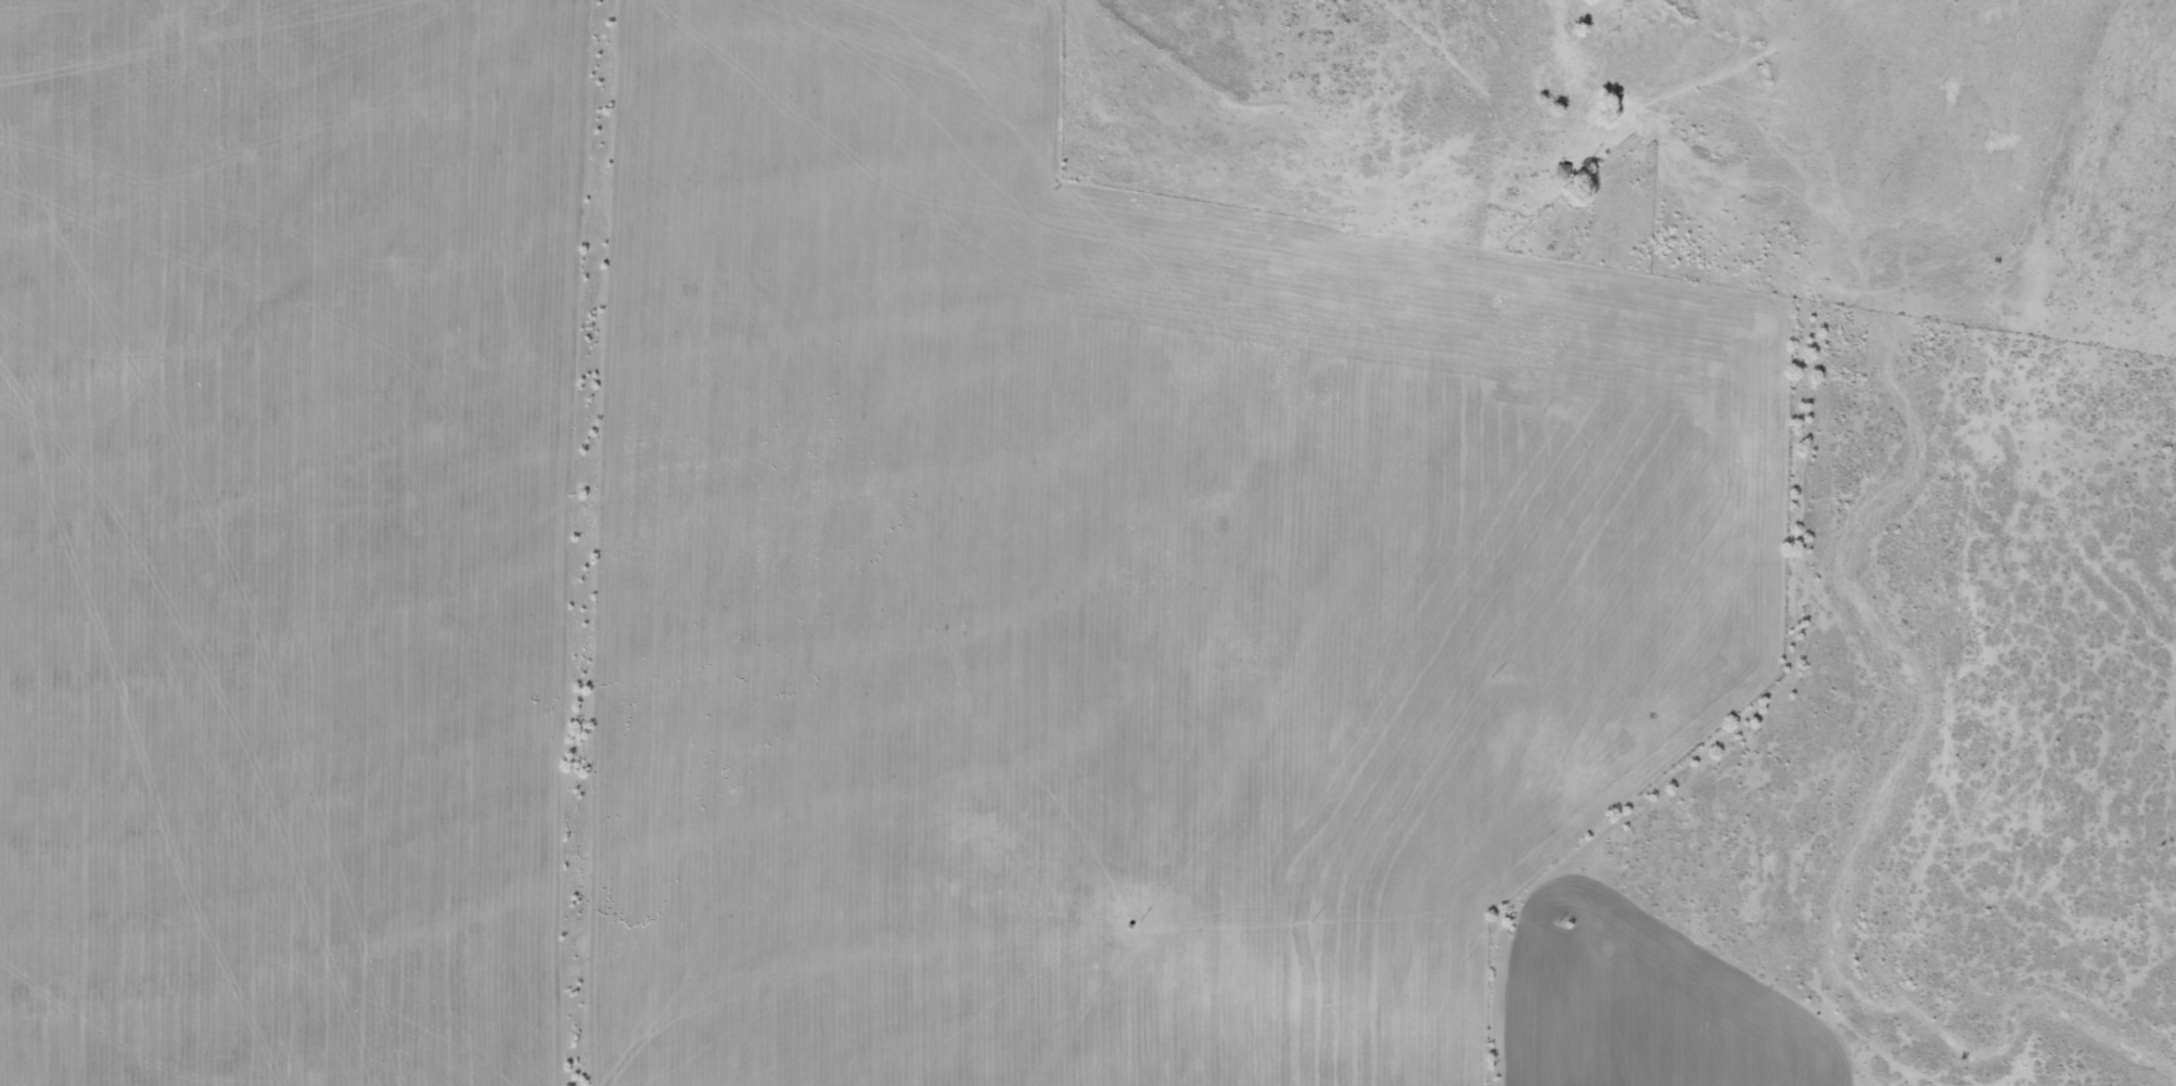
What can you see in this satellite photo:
building: (1563, 170)

